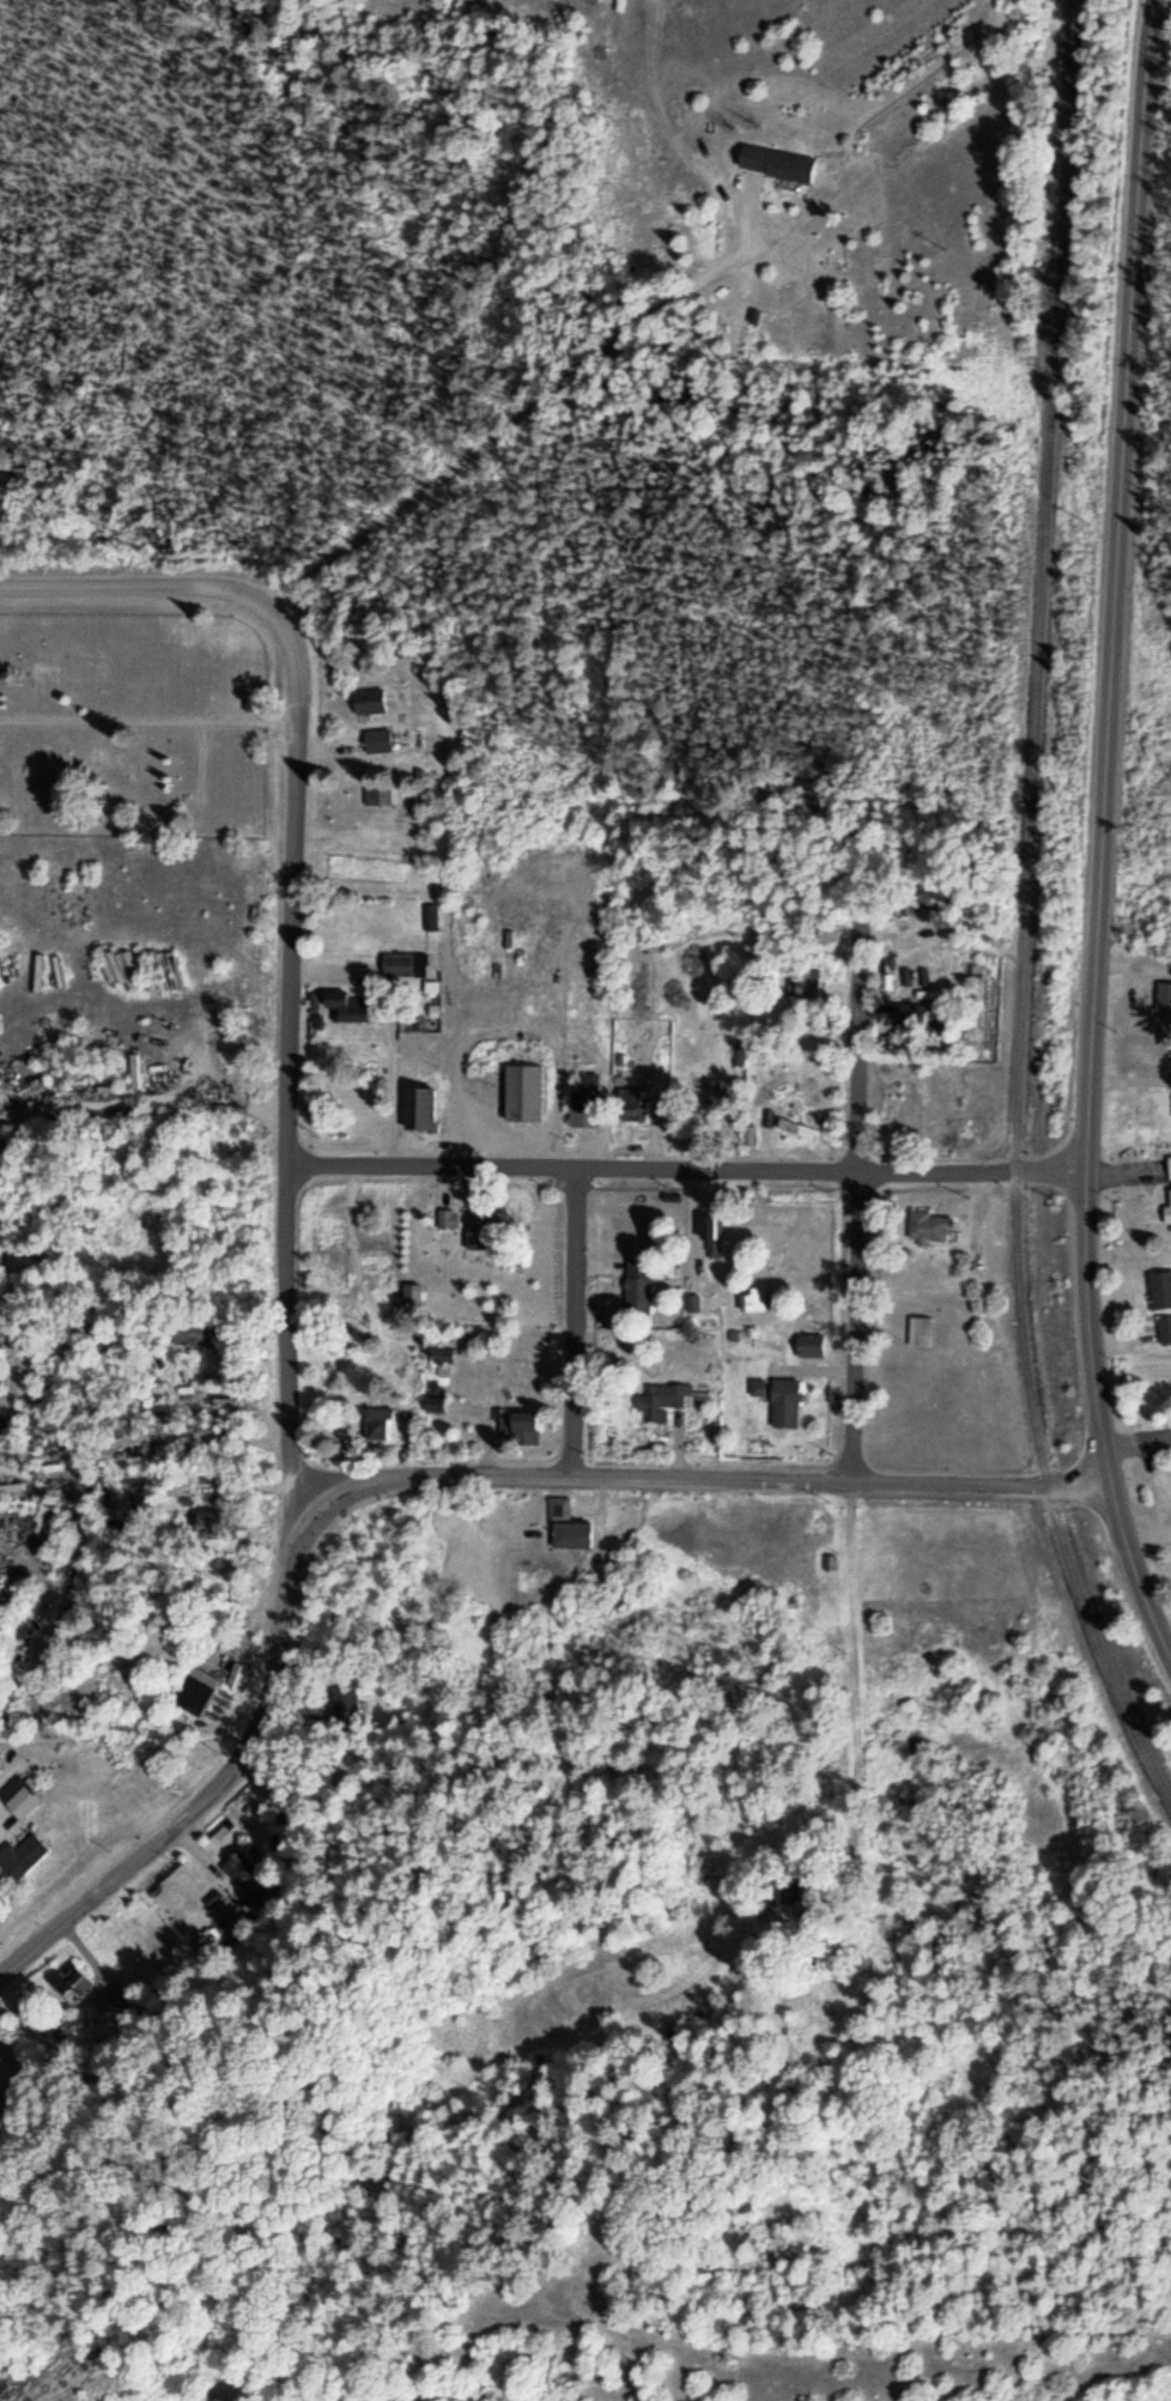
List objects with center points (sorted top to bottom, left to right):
building: (775, 160)
road: (347, 616)
building: (368, 698)
park: (134, 722)
road: (148, 724)
building: (376, 738)
building: (380, 792)
road: (1105, 835)
railway: (1029, 909)
building: (429, 914)
road: (289, 915)
building: (402, 962)
building: (1163, 994)
building: (346, 1004)
building: (491, 1004)
building: (920, 1014)
building: (413, 1020)
building: (523, 1090)
building: (585, 1099)
building: (631, 1103)
building: (419, 1105)
building: (882, 1106)
building: (796, 1126)
building: (1167, 1163)
road: (686, 1166)
road: (853, 1176)
building: (1167, 1207)
building: (447, 1215)
building: (928, 1224)
building: (486, 1227)
building: (710, 1230)
building: (637, 1284)
building: (1159, 1286)
building: (411, 1292)
building: (753, 1296)
road: (569, 1322)
building: (1164, 1326)
building: (920, 1327)
building: (194, 1330)
building: (808, 1342)
building: (439, 1353)
building: (659, 1397)
building: (435, 1400)
building: (783, 1400)
building: (158, 1406)
building: (377, 1421)
building: (521, 1425)
road: (405, 1471)
building: (809, 1517)
building: (218, 1522)
building: (568, 1526)
building: (192, 1687)
building: (342, 1706)
building: (19, 1794)
building: (20, 1854)
building: (239, 1866)
building: (800, 1897)
building: (71, 1982)

